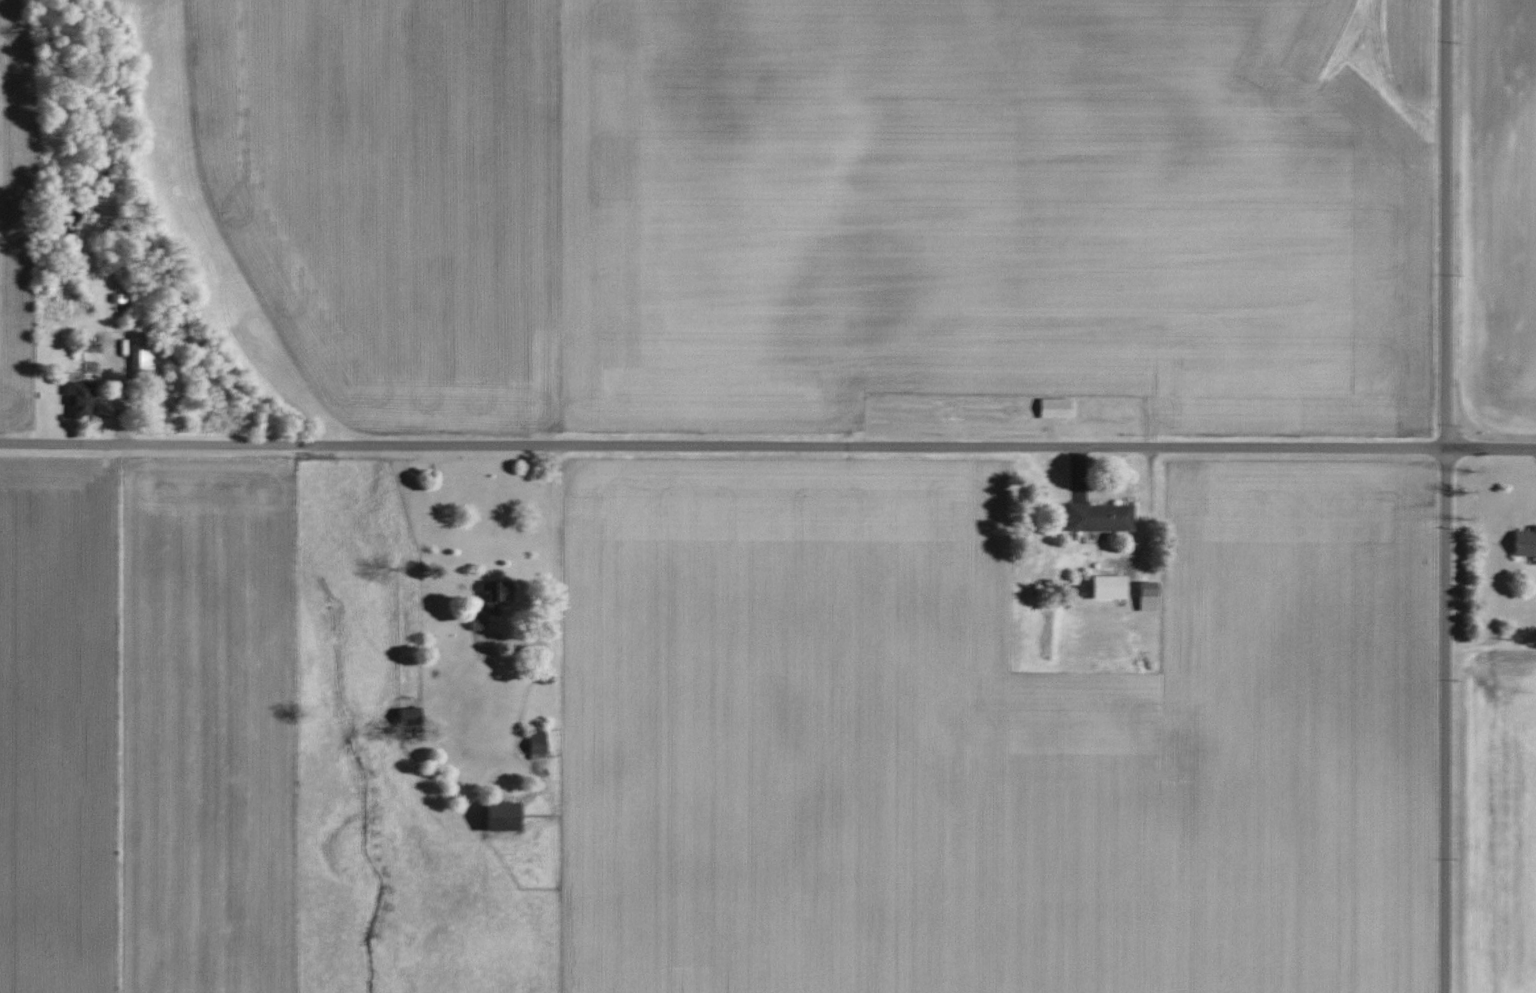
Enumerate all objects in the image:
building: (142, 351)
building: (83, 400)
building: (1051, 408)
road: (723, 446)
road: (1491, 448)
road: (1446, 496)
building: (1096, 517)
building: (1522, 543)
road: (553, 574)
building: (1102, 587)
building: (490, 596)
building: (1141, 596)
building: (414, 714)
building: (531, 747)
building: (509, 815)

